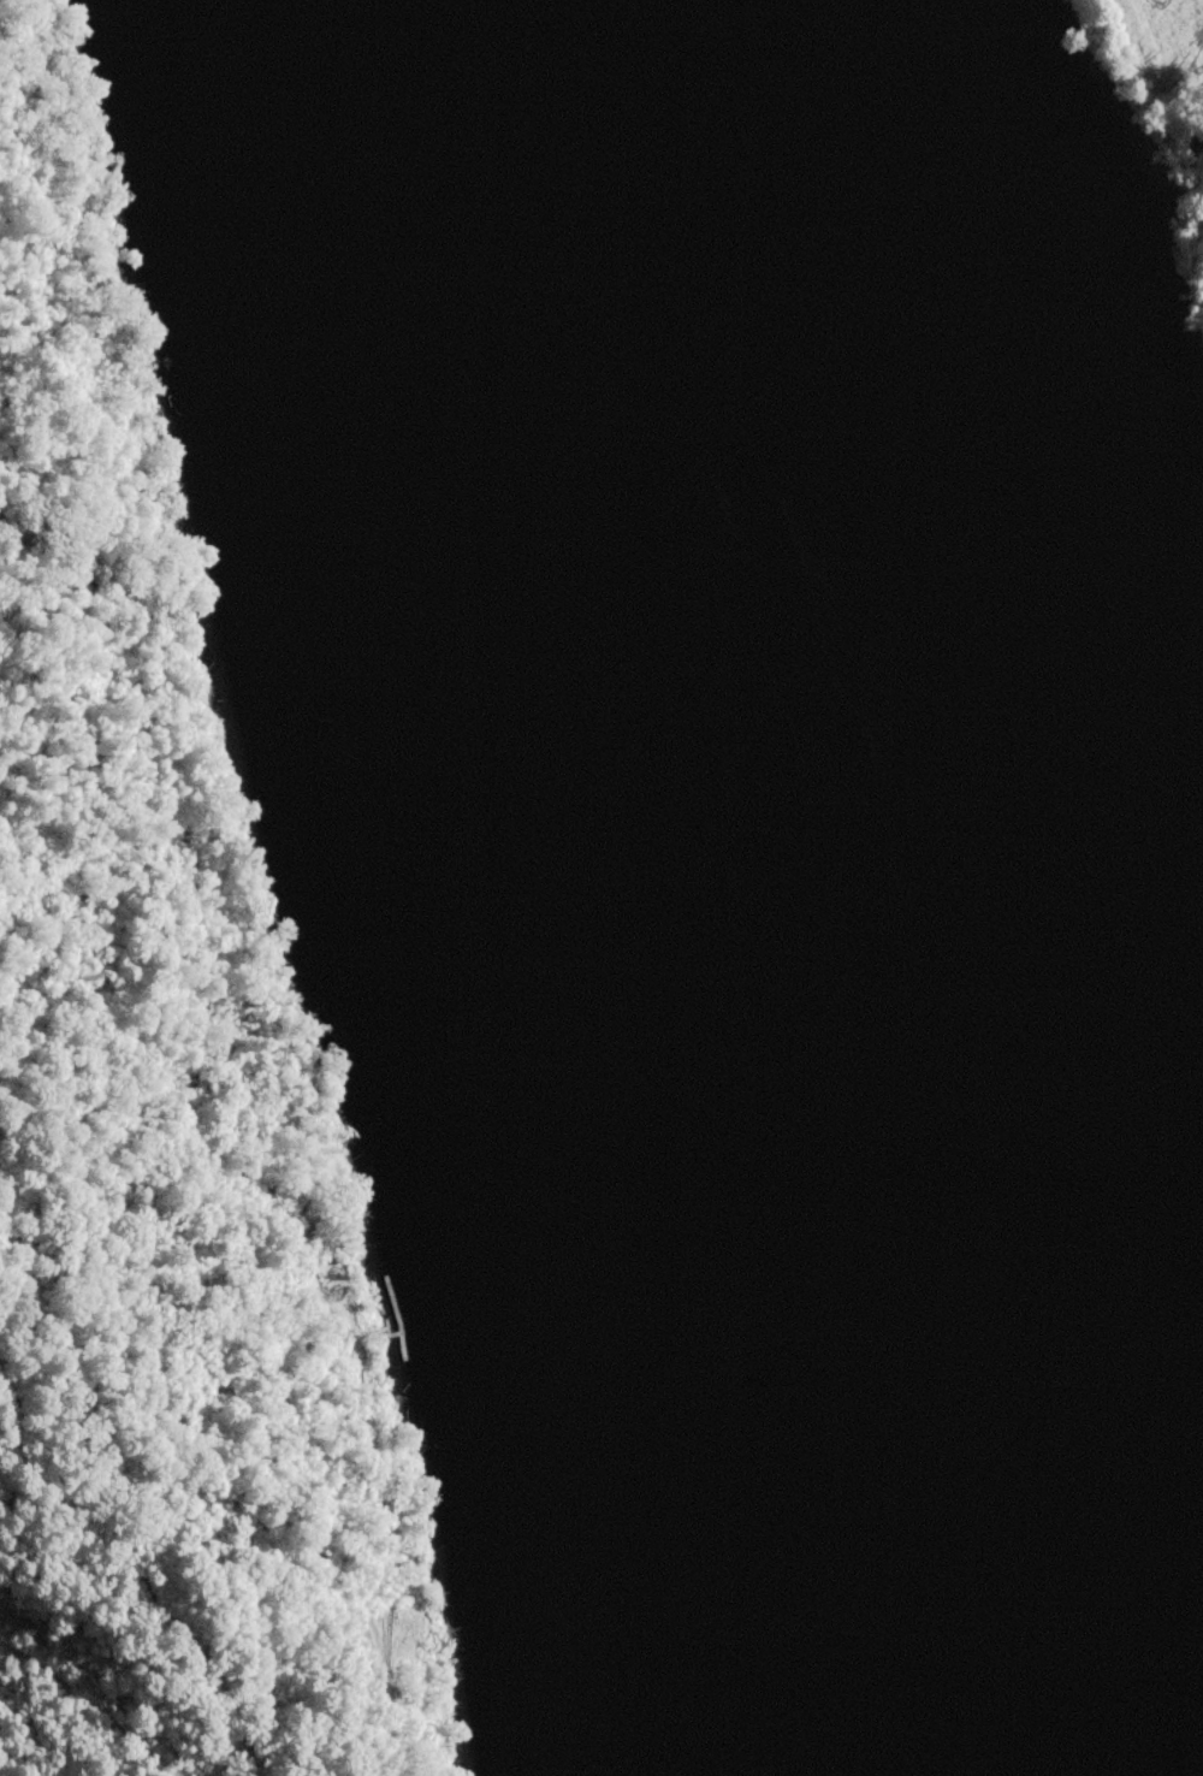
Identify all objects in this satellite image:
river: (819, 892)

